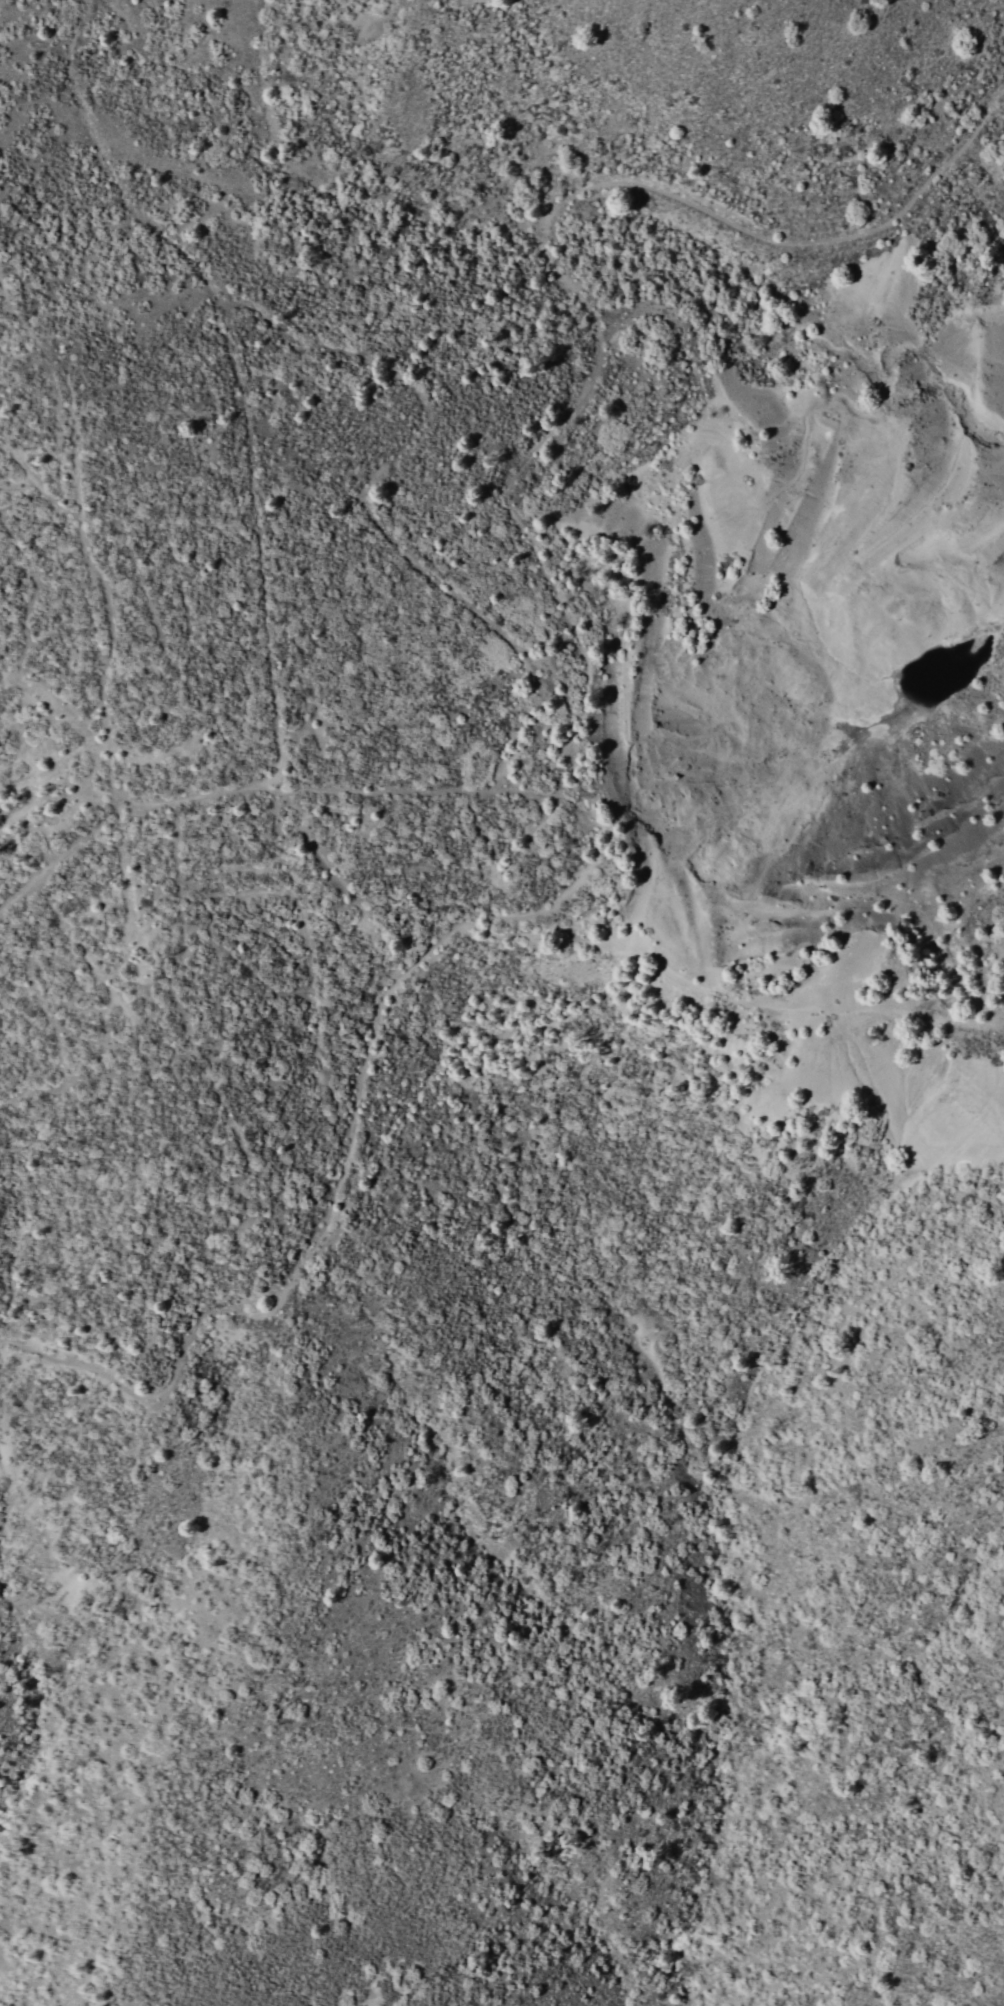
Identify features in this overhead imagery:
quarry: (810, 703)
road: (540, 752)
road: (681, 1060)

